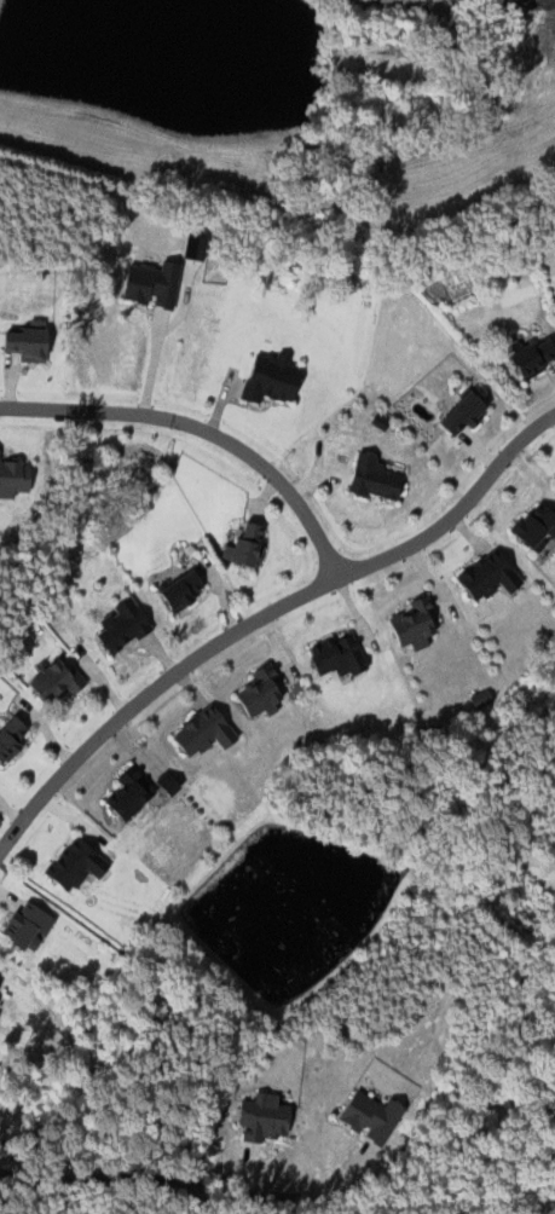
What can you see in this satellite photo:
building: (193, 245)
building: (151, 282)
building: (27, 341)
building: (531, 357)
road: (154, 365)
building: (266, 377)
building: (462, 412)
road: (202, 432)
building: (13, 478)
building: (370, 478)
building: (533, 527)
building: (244, 544)
building: (485, 577)
building: (178, 590)
road: (265, 619)
building: (118, 625)
building: (411, 625)
building: (334, 655)
building: (52, 681)
building: (258, 693)
building: (200, 732)
building: (10, 736)
building: (168, 784)
building: (126, 793)
building: (71, 863)
building: (27, 924)
building: (262, 1116)
building: (371, 1116)
road: (186, 1183)

